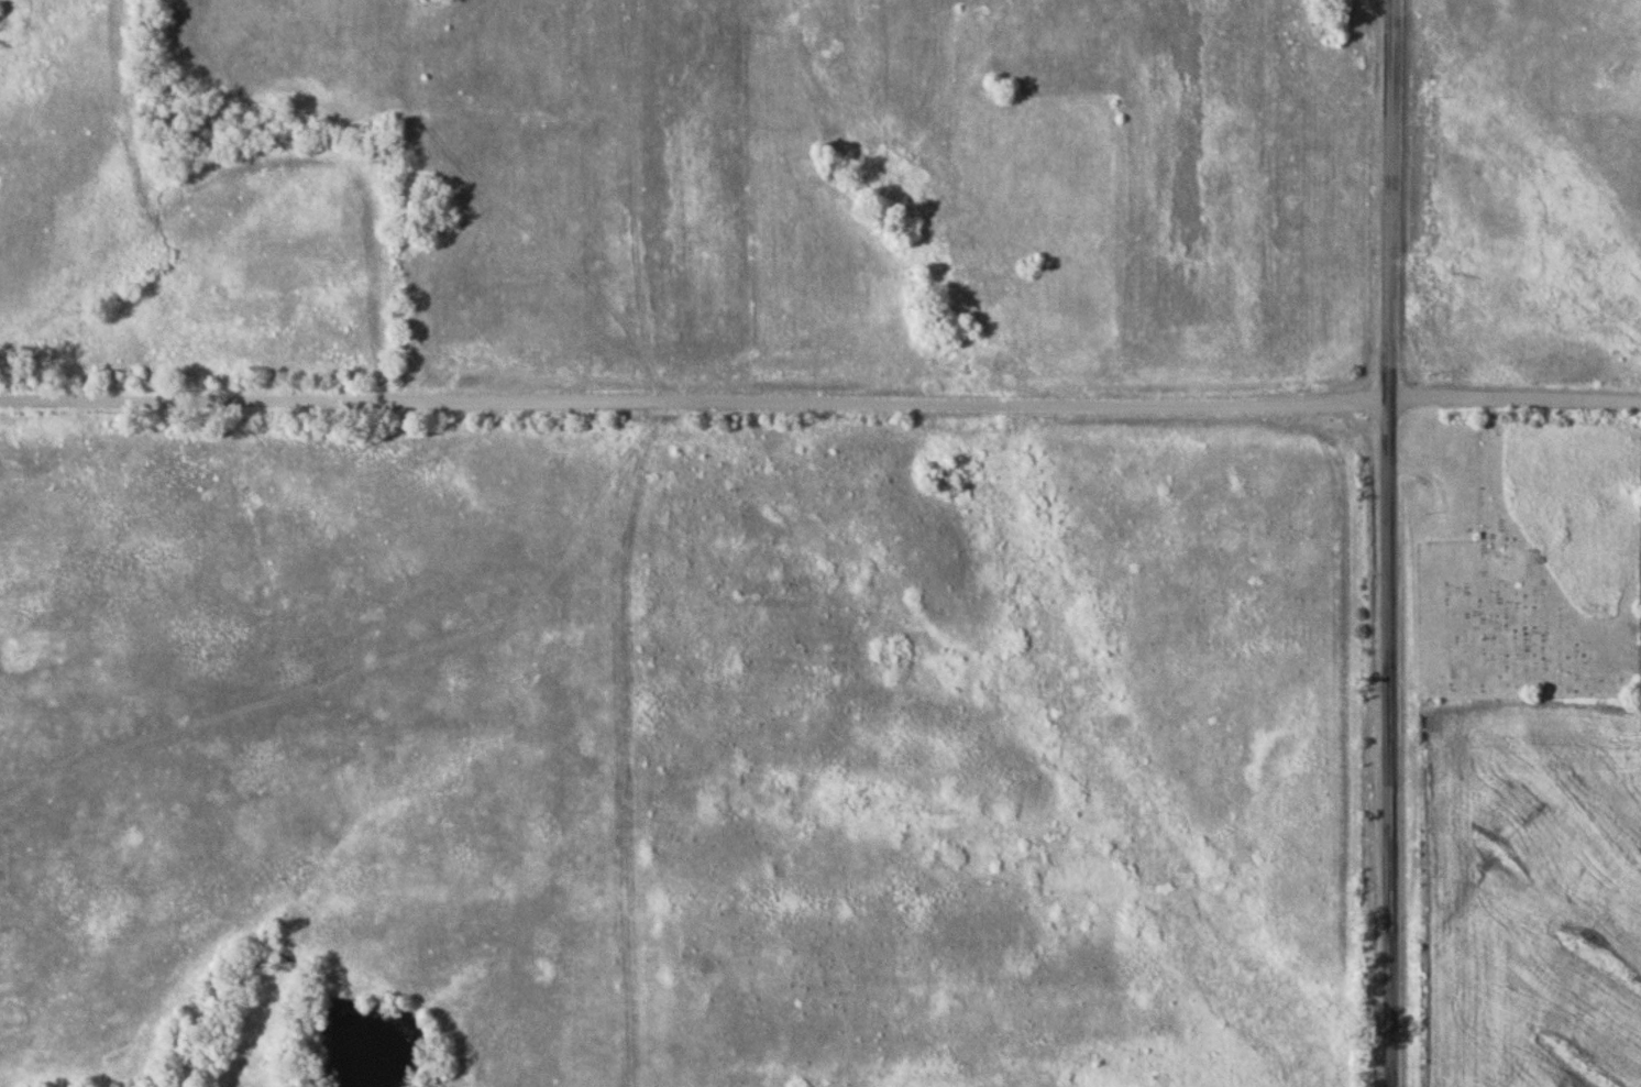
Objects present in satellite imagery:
road: (1516, 394)
road: (694, 399)
road: (1388, 542)
park: (1529, 560)

